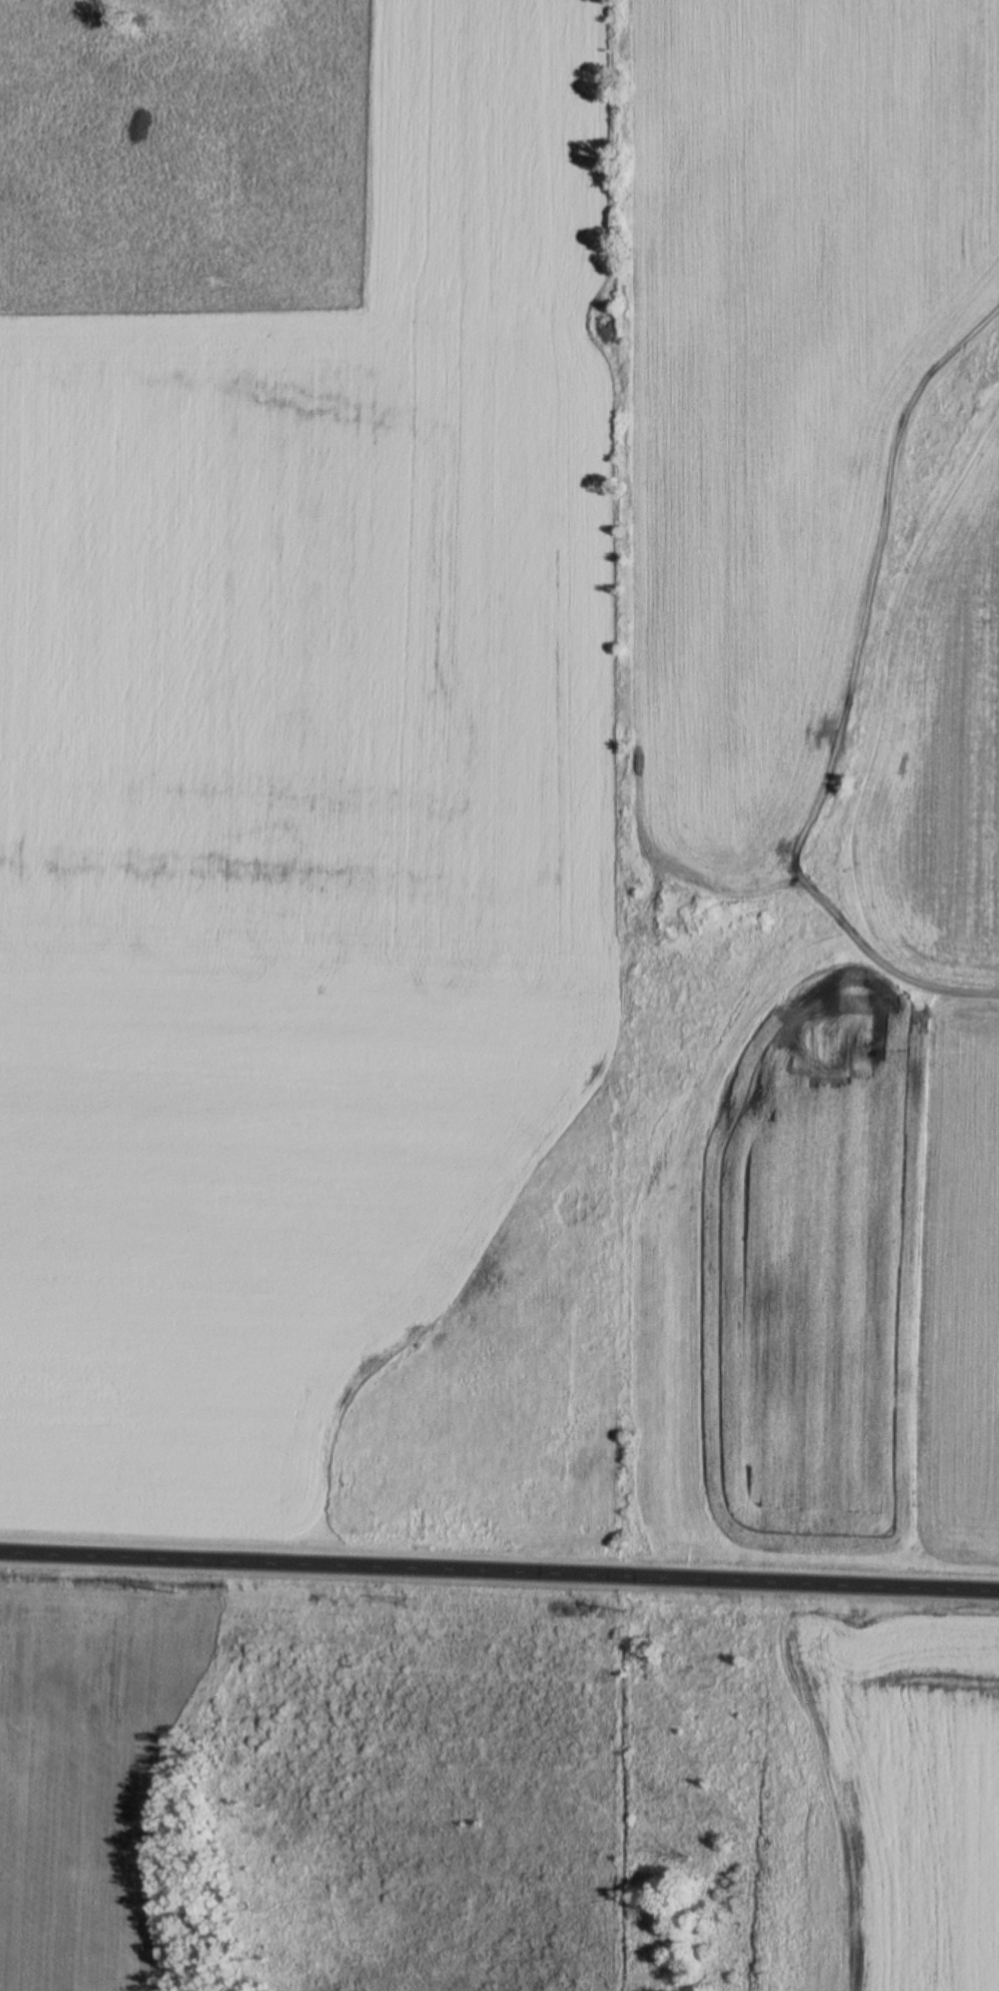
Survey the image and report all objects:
road: (499, 1568)
power tower: (409, 1604)
power tower: (854, 1620)

